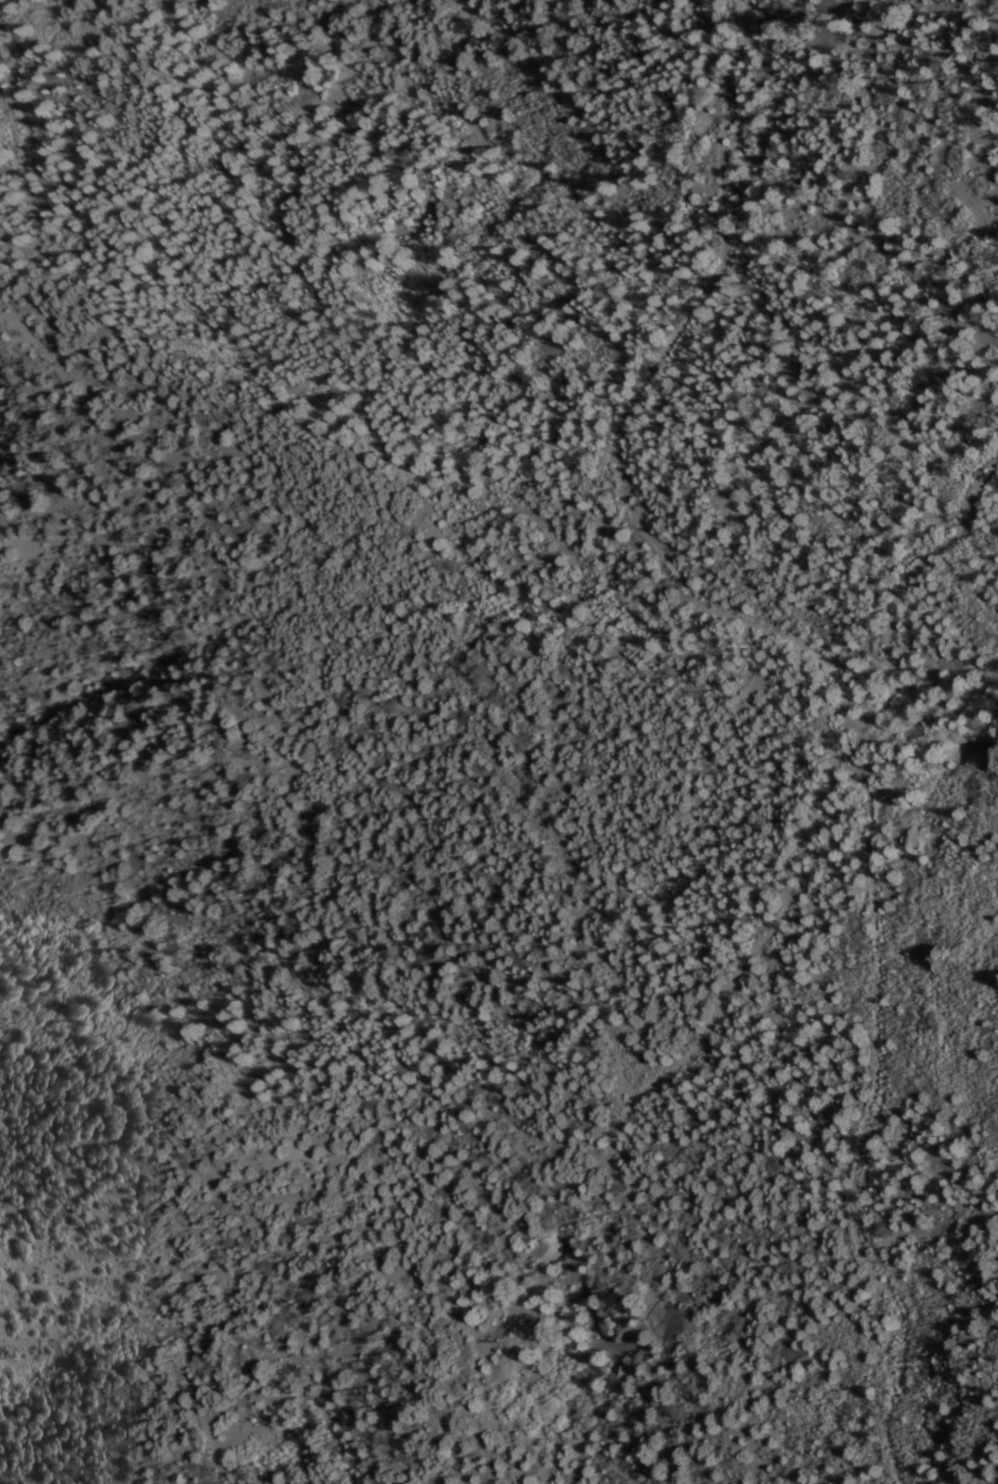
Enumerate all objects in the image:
road: (660, 553)
road: (147, 1401)

